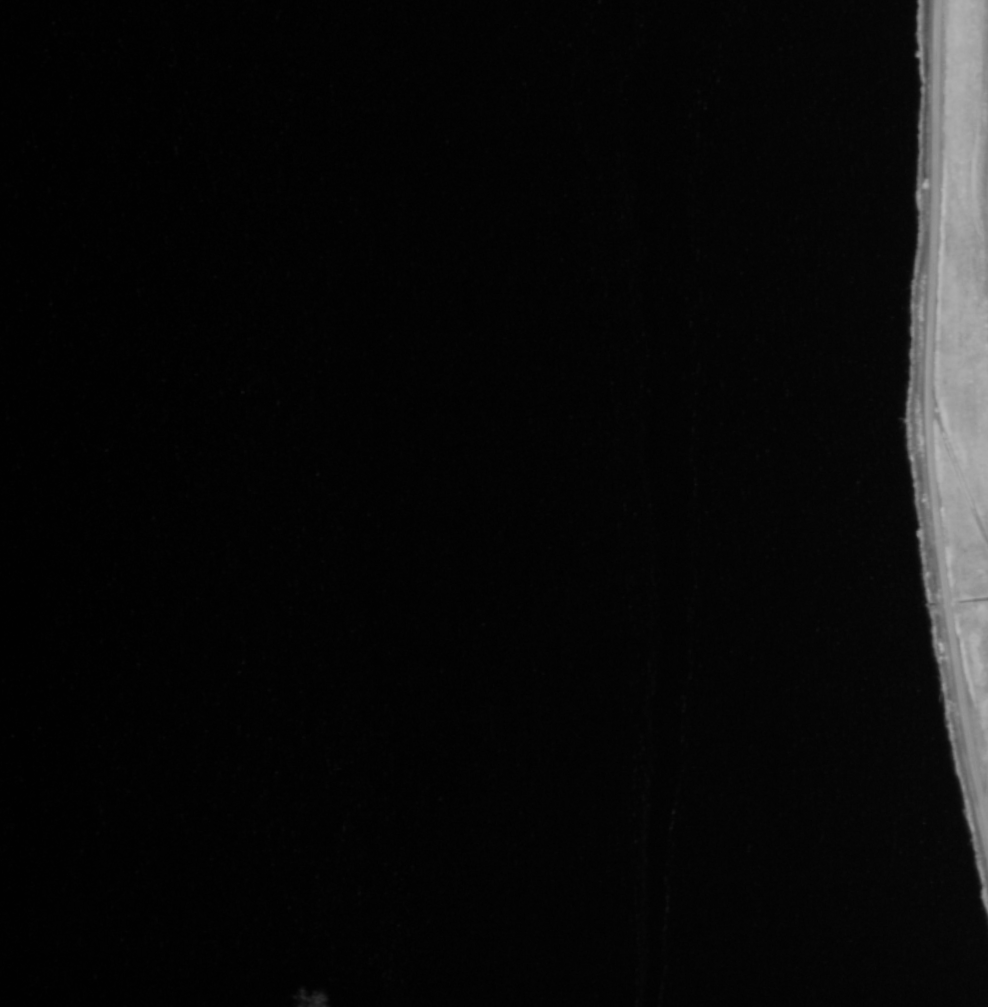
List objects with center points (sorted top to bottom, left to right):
road: (932, 305)
river: (537, 504)
road: (984, 727)

